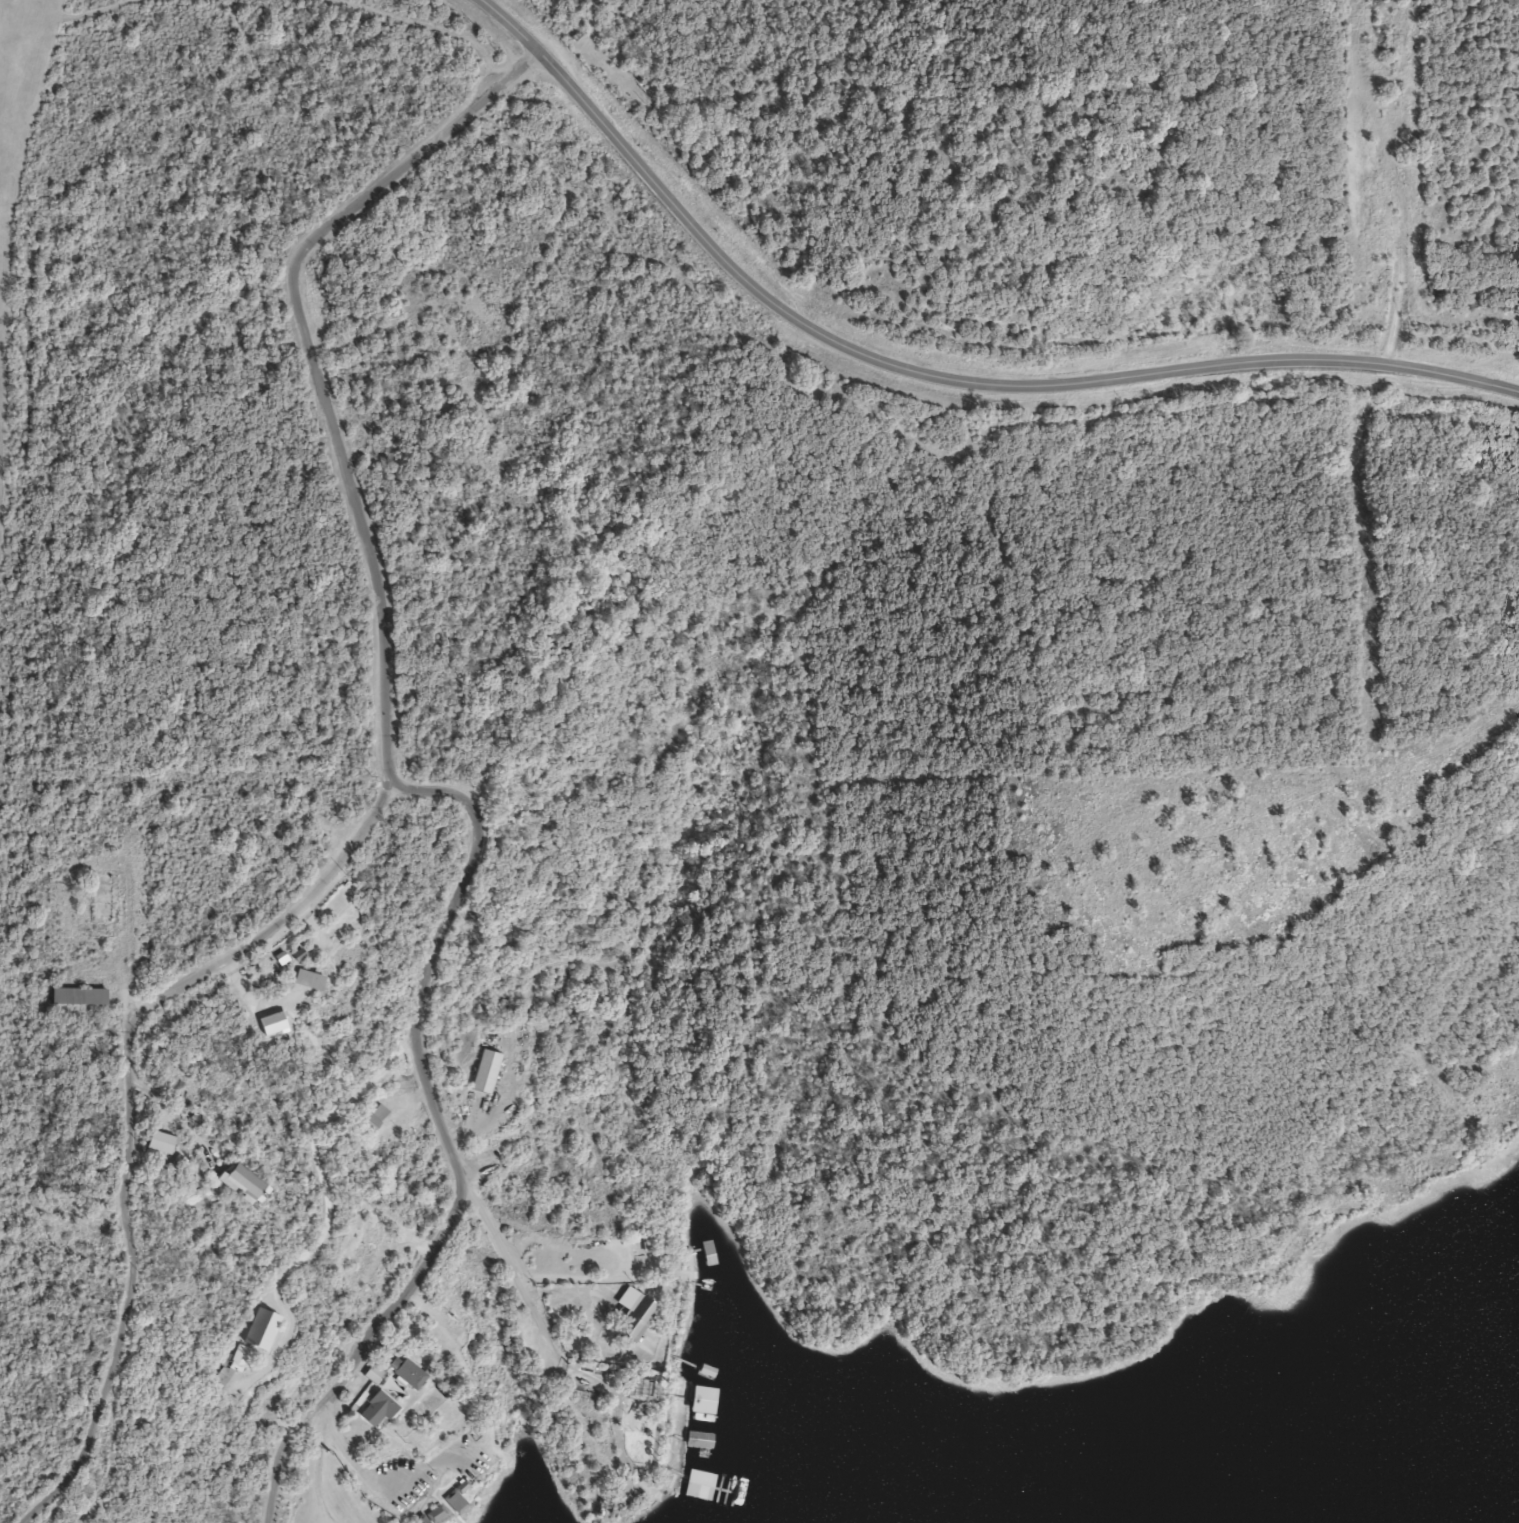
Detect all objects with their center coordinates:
road: (445, 33)
road: (932, 371)
road: (378, 799)
road: (123, 932)
building: (303, 980)
building: (76, 996)
building: (374, 1119)
building: (157, 1143)
road: (445, 1145)
road: (316, 1155)
building: (236, 1183)
road: (517, 1278)
building: (632, 1315)
building: (257, 1330)
building: (238, 1358)
building: (406, 1374)
building: (712, 1399)
building: (375, 1411)
building: (631, 1415)
building: (712, 1446)
road: (346, 1454)
building: (454, 1503)
building: (724, 1513)
building: (429, 1516)

